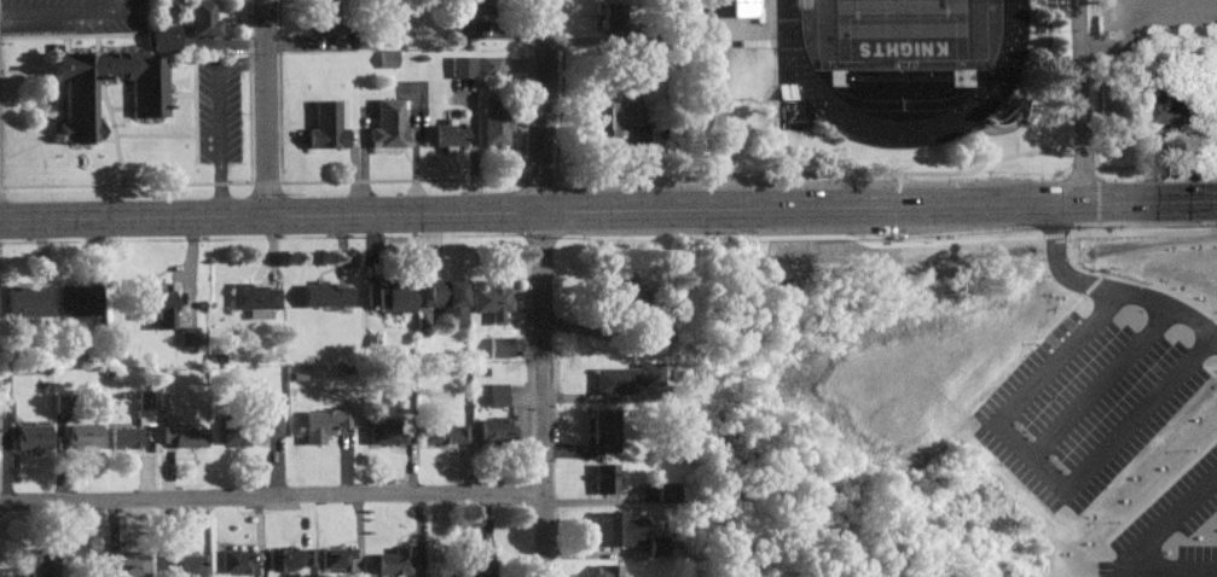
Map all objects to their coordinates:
road: (1122, 2)
road: (1147, 4)
building: (748, 7)
road: (66, 10)
parking lot: (70, 16)
building: (468, 16)
building: (610, 16)
building: (324, 17)
building: (203, 18)
park: (900, 29)
road: (69, 35)
building: (164, 39)
road: (65, 43)
road: (97, 43)
building: (363, 47)
parking lot: (1137, 57)
building: (384, 66)
road: (1122, 68)
road: (25, 71)
building: (487, 72)
building: (457, 74)
track: (798, 77)
road: (523, 89)
road: (561, 89)
road: (249, 91)
road: (280, 91)
road: (180, 93)
road: (718, 95)
road: (1084, 100)
building: (147, 101)
road: (546, 105)
road: (266, 106)
building: (1184, 107)
road: (118, 109)
road: (195, 110)
parking lot: (218, 110)
building: (619, 121)
building: (324, 124)
building: (494, 127)
road: (111, 130)
building: (386, 132)
road: (153, 134)
road: (104, 140)
building: (446, 140)
road: (30, 144)
road: (621, 176)
road: (1091, 200)
road: (558, 204)
road: (844, 206)
road: (359, 212)
road: (850, 226)
road: (656, 229)
road: (1163, 232)
road: (1072, 234)
road: (896, 243)
road: (1107, 290)
building: (626, 292)
building: (324, 293)
building: (255, 297)
building: (388, 297)
building: (446, 298)
building: (77, 299)
building: (489, 299)
building: (24, 301)
building: (156, 304)
building: (189, 334)
building: (650, 334)
building: (497, 346)
building: (626, 378)
road: (541, 392)
building: (496, 394)
building: (163, 402)
building: (60, 403)
building: (4, 406)
building: (141, 407)
building: (673, 415)
building: (323, 424)
building: (247, 426)
building: (496, 429)
building: (603, 431)
building: (386, 432)
building: (444, 432)
building: (83, 435)
building: (31, 436)
building: (186, 436)
building: (124, 437)
road: (1039, 470)
building: (603, 478)
road: (272, 496)
building: (616, 528)
building: (656, 546)
road: (1137, 546)
building: (336, 558)
building: (289, 559)
building: (393, 560)
building: (475, 560)
building: (236, 561)
building: (127, 563)
building: (184, 564)
building: (44, 565)
building: (605, 570)

